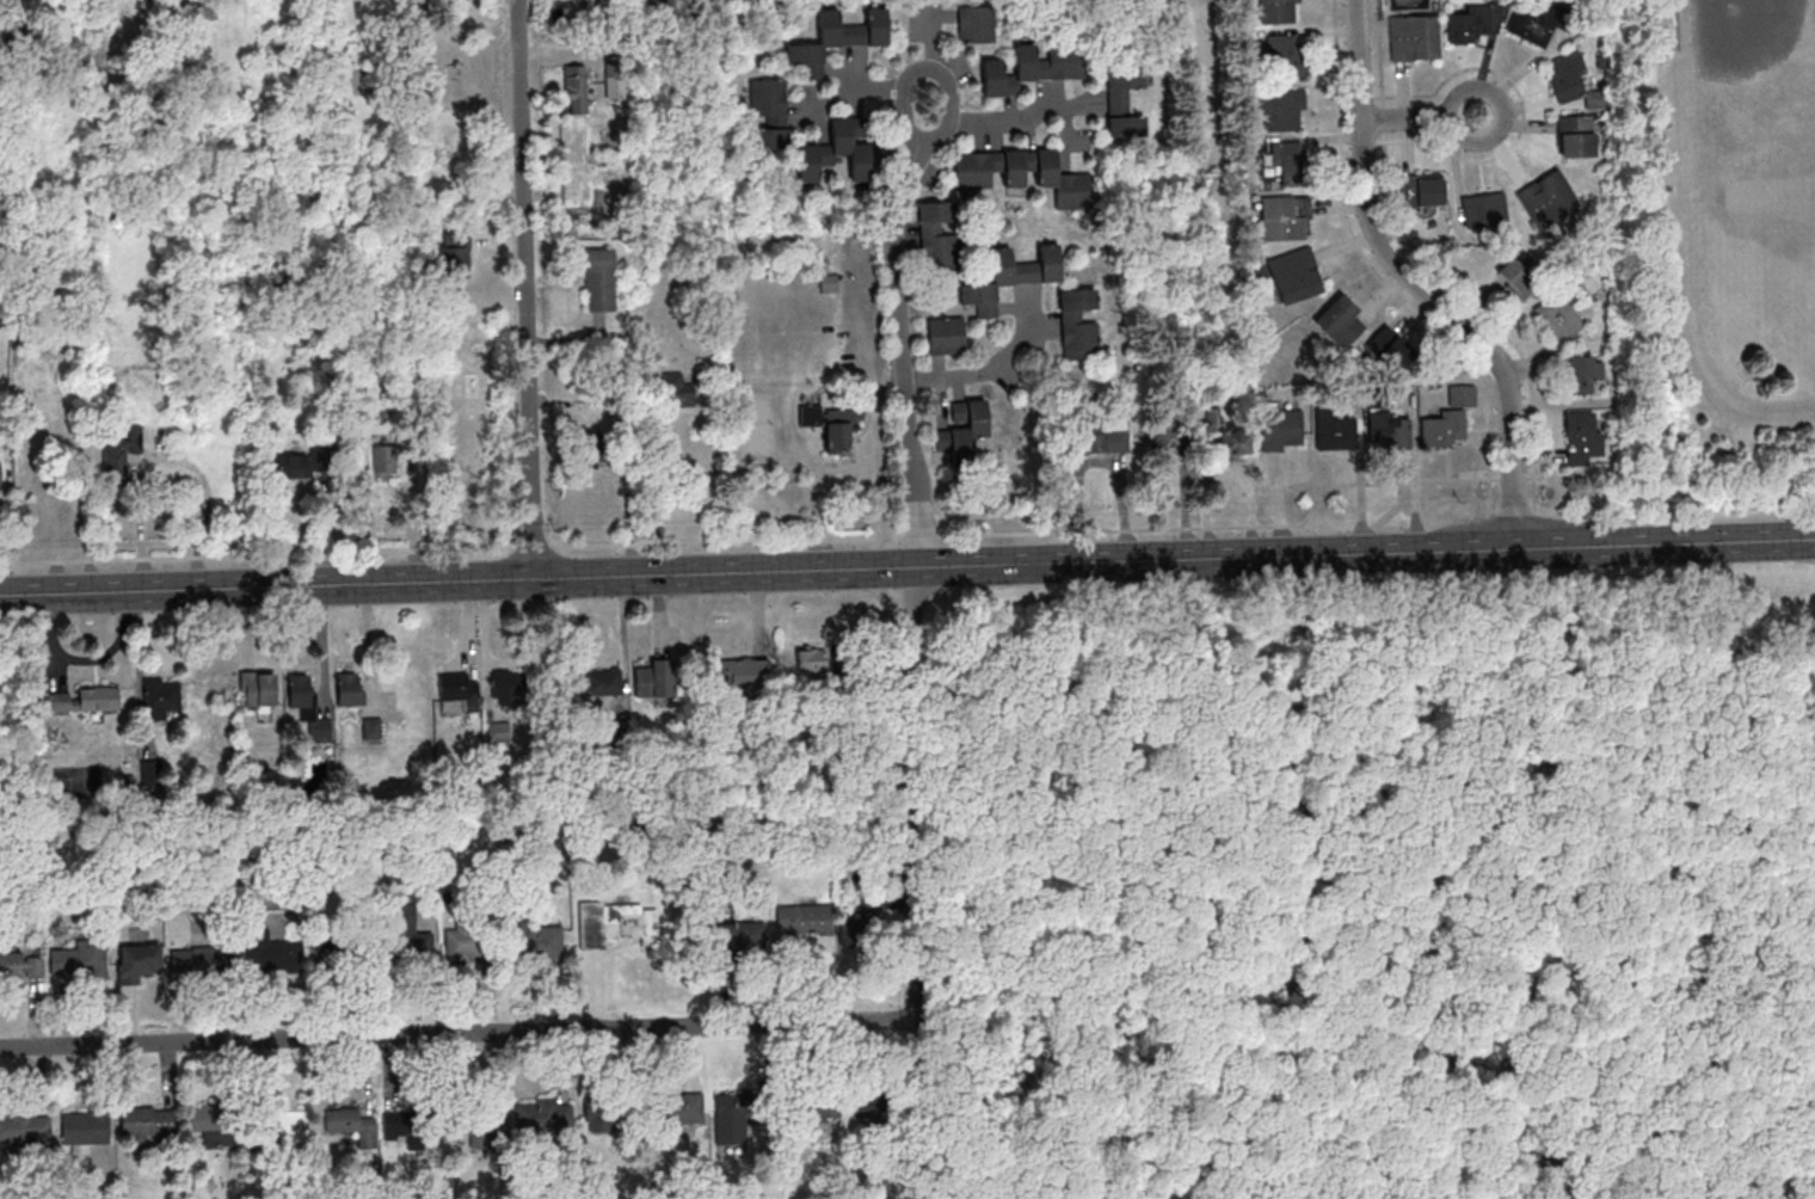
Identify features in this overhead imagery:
building: (1279, 11)
building: (1471, 23)
building: (976, 24)
building: (1528, 29)
building: (1413, 37)
building: (837, 38)
building: (1284, 56)
road: (941, 66)
building: (1032, 69)
building: (1567, 76)
road: (845, 94)
building: (576, 96)
building: (1122, 103)
building: (1281, 109)
building: (769, 112)
road: (1425, 116)
road: (906, 124)
road: (1011, 128)
building: (1576, 135)
building: (1286, 153)
building: (841, 154)
building: (973, 170)
building: (1013, 170)
building: (1062, 183)
building: (1421, 189)
building: (1546, 197)
building: (1483, 209)
building: (1285, 219)
building: (936, 232)
building: (455, 253)
building: (1294, 275)
building: (1010, 277)
building: (1518, 277)
building: (599, 279)
building: (829, 282)
road: (1417, 285)
road: (525, 288)
building: (1559, 316)
building: (1340, 320)
building: (1079, 324)
road: (897, 336)
building: (946, 337)
building: (1389, 351)
building: (1581, 373)
road: (990, 374)
building: (682, 391)
building: (1460, 395)
road: (876, 405)
building: (831, 425)
building: (1280, 428)
building: (1444, 428)
building: (962, 429)
building: (1334, 429)
building: (1388, 429)
building: (1173, 430)
building: (1226, 432)
building: (1100, 436)
building: (1581, 438)
building: (127, 447)
building: (384, 461)
building: (291, 466)
building: (0, 478)
road: (656, 498)
road: (907, 567)
building: (813, 659)
building: (739, 674)
building: (653, 677)
building: (602, 681)
building: (507, 683)
building: (457, 687)
building: (350, 688)
building: (264, 690)
building: (87, 699)
building: (160, 700)
building: (307, 706)
building: (371, 727)
building: (498, 731)
building: (318, 768)
building: (857, 774)
building: (795, 777)
building: (503, 824)
road: (910, 884)
building: (881, 917)
building: (804, 918)
building: (630, 922)
building: (737, 935)
building: (406, 939)
building: (536, 941)
building: (462, 945)
building: (271, 952)
building: (333, 952)
road: (1027, 953)
building: (202, 959)
building: (78, 961)
building: (140, 961)
building: (20, 965)
road: (1456, 1014)
road: (459, 1032)
building: (685, 1108)
building: (937, 1108)
building: (817, 1109)
building: (732, 1111)
road: (1764, 1115)
building: (607, 1117)
building: (870, 1118)
building: (540, 1119)
building: (146, 1121)
building: (214, 1124)
building: (353, 1124)
building: (405, 1127)
building: (479, 1127)
building: (25, 1129)
building: (85, 1129)
building: (291, 1129)
road: (1100, 1188)

